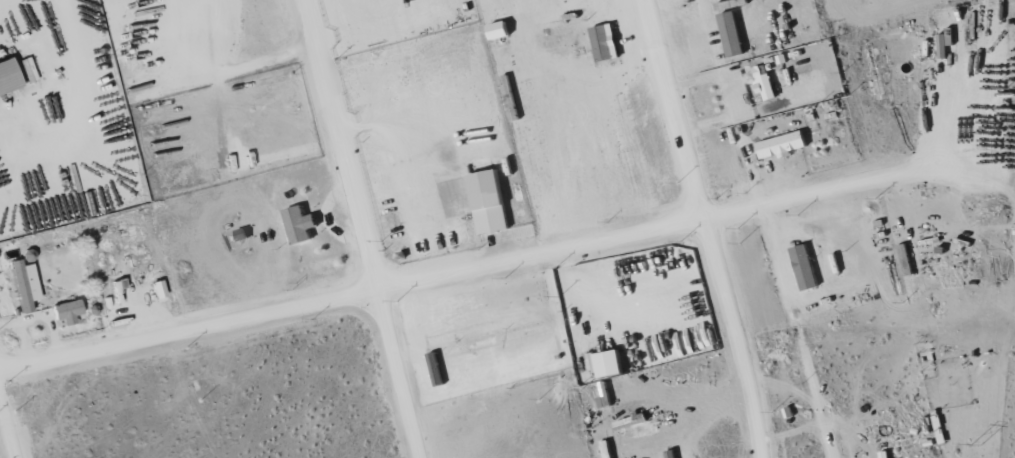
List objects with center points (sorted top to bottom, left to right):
building: (501, 30)
building: (733, 34)
building: (605, 43)
building: (9, 78)
building: (765, 81)
power tower: (1009, 91)
road: (730, 96)
building: (784, 145)
building: (495, 210)
building: (299, 225)
road: (360, 228)
road: (707, 228)
road: (489, 264)
building: (806, 268)
building: (27, 285)
building: (160, 289)
road: (599, 298)
building: (69, 311)
road: (710, 392)
road: (7, 431)
power tower: (974, 447)
building: (888, 454)

